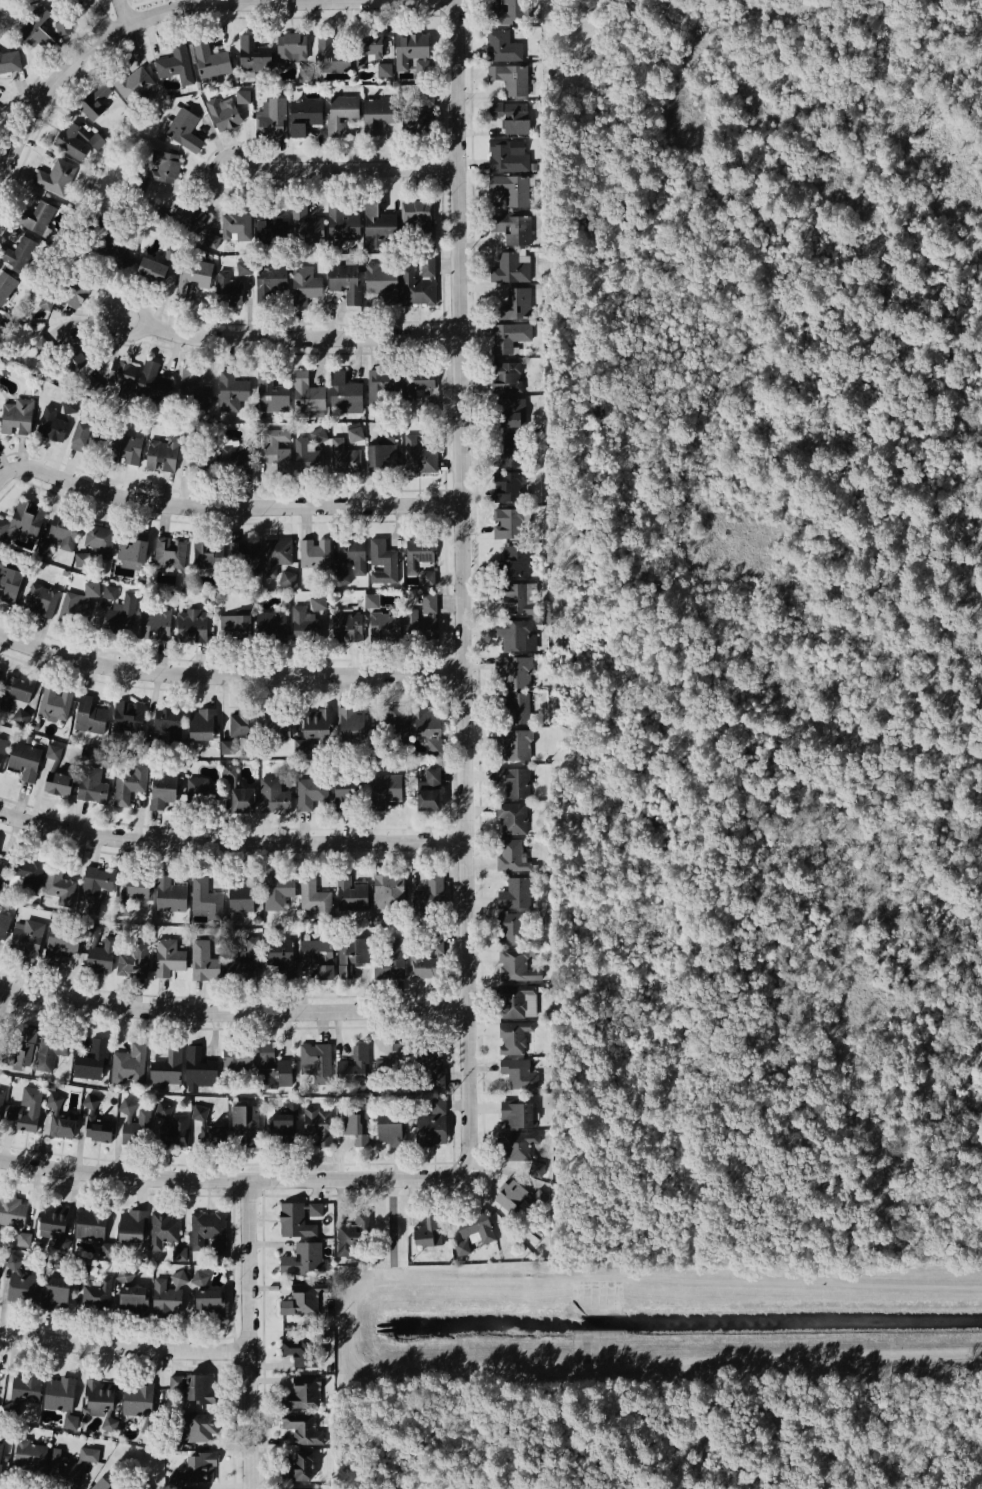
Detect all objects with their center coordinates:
building: (509, 13)
road: (112, 14)
building: (62, 27)
building: (35, 31)
building: (370, 46)
building: (502, 46)
building: (292, 47)
building: (410, 49)
building: (331, 52)
road: (86, 54)
building: (254, 55)
building: (211, 60)
building: (10, 61)
building: (176, 63)
building: (385, 71)
building: (305, 72)
building: (511, 78)
building: (131, 82)
building: (243, 96)
building: (94, 100)
building: (416, 105)
building: (225, 112)
building: (343, 113)
building: (304, 116)
building: (379, 116)
building: (513, 116)
building: (270, 119)
building: (184, 129)
building: (71, 141)
building: (508, 156)
road: (359, 165)
building: (156, 170)
building: (56, 176)
building: (512, 189)
building: (182, 216)
building: (32, 219)
building: (417, 219)
building: (343, 222)
building: (305, 225)
building: (378, 226)
building: (236, 227)
building: (512, 228)
building: (276, 229)
building: (211, 241)
building: (172, 253)
building: (18, 254)
building: (109, 254)
building: (244, 267)
building: (428, 267)
building: (510, 269)
building: (149, 270)
building: (193, 276)
building: (346, 281)
building: (383, 281)
building: (270, 282)
building: (304, 284)
building: (5, 287)
building: (417, 289)
building: (228, 290)
building: (73, 293)
building: (45, 302)
building: (516, 304)
road: (307, 335)
building: (509, 336)
building: (40, 344)
building: (76, 354)
building: (152, 374)
building: (119, 377)
building: (507, 377)
building: (93, 379)
building: (382, 382)
building: (422, 385)
building: (193, 390)
building: (235, 391)
building: (270, 391)
building: (307, 391)
building: (344, 396)
building: (69, 405)
building: (511, 412)
building: (17, 416)
building: (51, 422)
building: (85, 432)
building: (355, 433)
building: (318, 434)
building: (126, 448)
building: (278, 448)
building: (379, 451)
building: (508, 452)
building: (163, 454)
building: (418, 455)
building: (307, 456)
building: (343, 457)
building: (204, 458)
building: (237, 458)
road: (36, 468)
building: (508, 487)
road: (270, 505)
building: (22, 520)
building: (509, 524)
building: (62, 530)
building: (99, 539)
building: (44, 548)
building: (169, 550)
building: (130, 552)
building: (245, 552)
building: (418, 552)
building: (209, 553)
building: (276, 554)
building: (352, 554)
building: (79, 559)
building: (516, 560)
building: (315, 562)
building: (382, 563)
building: (342, 577)
building: (427, 577)
building: (287, 578)
building: (10, 582)
road: (470, 588)
building: (110, 590)
building: (42, 598)
building: (518, 598)
building: (372, 600)
building: (319, 602)
building: (73, 612)
building: (121, 615)
building: (272, 620)
building: (421, 620)
building: (155, 622)
building: (192, 625)
building: (235, 625)
building: (306, 626)
building: (346, 626)
building: (385, 626)
building: (516, 635)
building: (514, 671)
road: (233, 674)
building: (1, 675)
building: (14, 692)
building: (53, 702)
building: (516, 706)
building: (129, 714)
building: (90, 715)
building: (168, 721)
building: (243, 721)
building: (350, 722)
building: (202, 723)
building: (390, 723)
building: (428, 726)
building: (274, 727)
building: (314, 727)
building: (515, 743)
building: (3, 745)
building: (227, 747)
building: (24, 760)
building: (230, 770)
building: (57, 782)
building: (515, 782)
building: (92, 783)
building: (129, 783)
building: (198, 786)
building: (346, 788)
building: (161, 789)
building: (385, 789)
building: (428, 790)
building: (311, 791)
building: (273, 794)
building: (241, 799)
building: (512, 817)
road: (235, 841)
building: (511, 856)
building: (1, 872)
building: (26, 875)
building: (60, 883)
building: (134, 885)
building: (94, 888)
building: (389, 888)
building: (431, 891)
building: (351, 892)
building: (515, 893)
building: (169, 894)
building: (240, 895)
building: (315, 897)
building: (206, 898)
building: (279, 900)
building: (123, 908)
building: (511, 929)
building: (21, 934)
building: (61, 942)
building: (424, 950)
building: (98, 952)
building: (384, 954)
building: (352, 955)
building: (131, 956)
building: (169, 956)
building: (279, 956)
building: (317, 958)
building: (205, 960)
building: (243, 963)
building: (517, 966)
building: (517, 1001)
road: (236, 1011)
building: (514, 1037)
building: (17, 1051)
building: (236, 1058)
building: (86, 1060)
building: (48, 1061)
building: (124, 1064)
building: (328, 1066)
building: (161, 1067)
building: (432, 1069)
building: (273, 1070)
building: (388, 1070)
building: (200, 1071)
building: (520, 1073)
building: (0, 1084)
building: (1, 1100)
building: (31, 1111)
building: (517, 1114)
building: (129, 1115)
building: (62, 1117)
building: (166, 1117)
building: (242, 1118)
building: (95, 1123)
building: (278, 1124)
building: (319, 1126)
building: (354, 1126)
building: (436, 1127)
building: (208, 1130)
building: (390, 1131)
building: (518, 1145)
road: (230, 1179)
building: (510, 1196)
building: (540, 1197)
building: (13, 1217)
building: (47, 1219)
building: (301, 1222)
building: (126, 1225)
building: (86, 1226)
building: (161, 1226)
building: (433, 1230)
building: (398, 1232)
building: (206, 1233)
building: (473, 1236)
building: (360, 1238)
building: (23, 1239)
building: (179, 1252)
building: (306, 1261)
building: (1, 1264)
building: (125, 1276)
building: (200, 1278)
building: (22, 1285)
building: (59, 1296)
building: (97, 1302)
building: (304, 1302)
building: (133, 1306)
building: (170, 1307)
building: (211, 1308)
road: (255, 1334)
road: (127, 1346)
building: (304, 1354)
building: (197, 1390)
building: (305, 1395)
building: (26, 1396)
building: (62, 1396)
building: (100, 1399)
building: (149, 1401)
building: (304, 1428)
building: (201, 1430)
building: (3, 1457)
building: (33, 1460)
building: (206, 1468)
building: (299, 1470)
building: (70, 1473)
building: (178, 1477)
building: (101, 1485)
building: (303, 1488)

